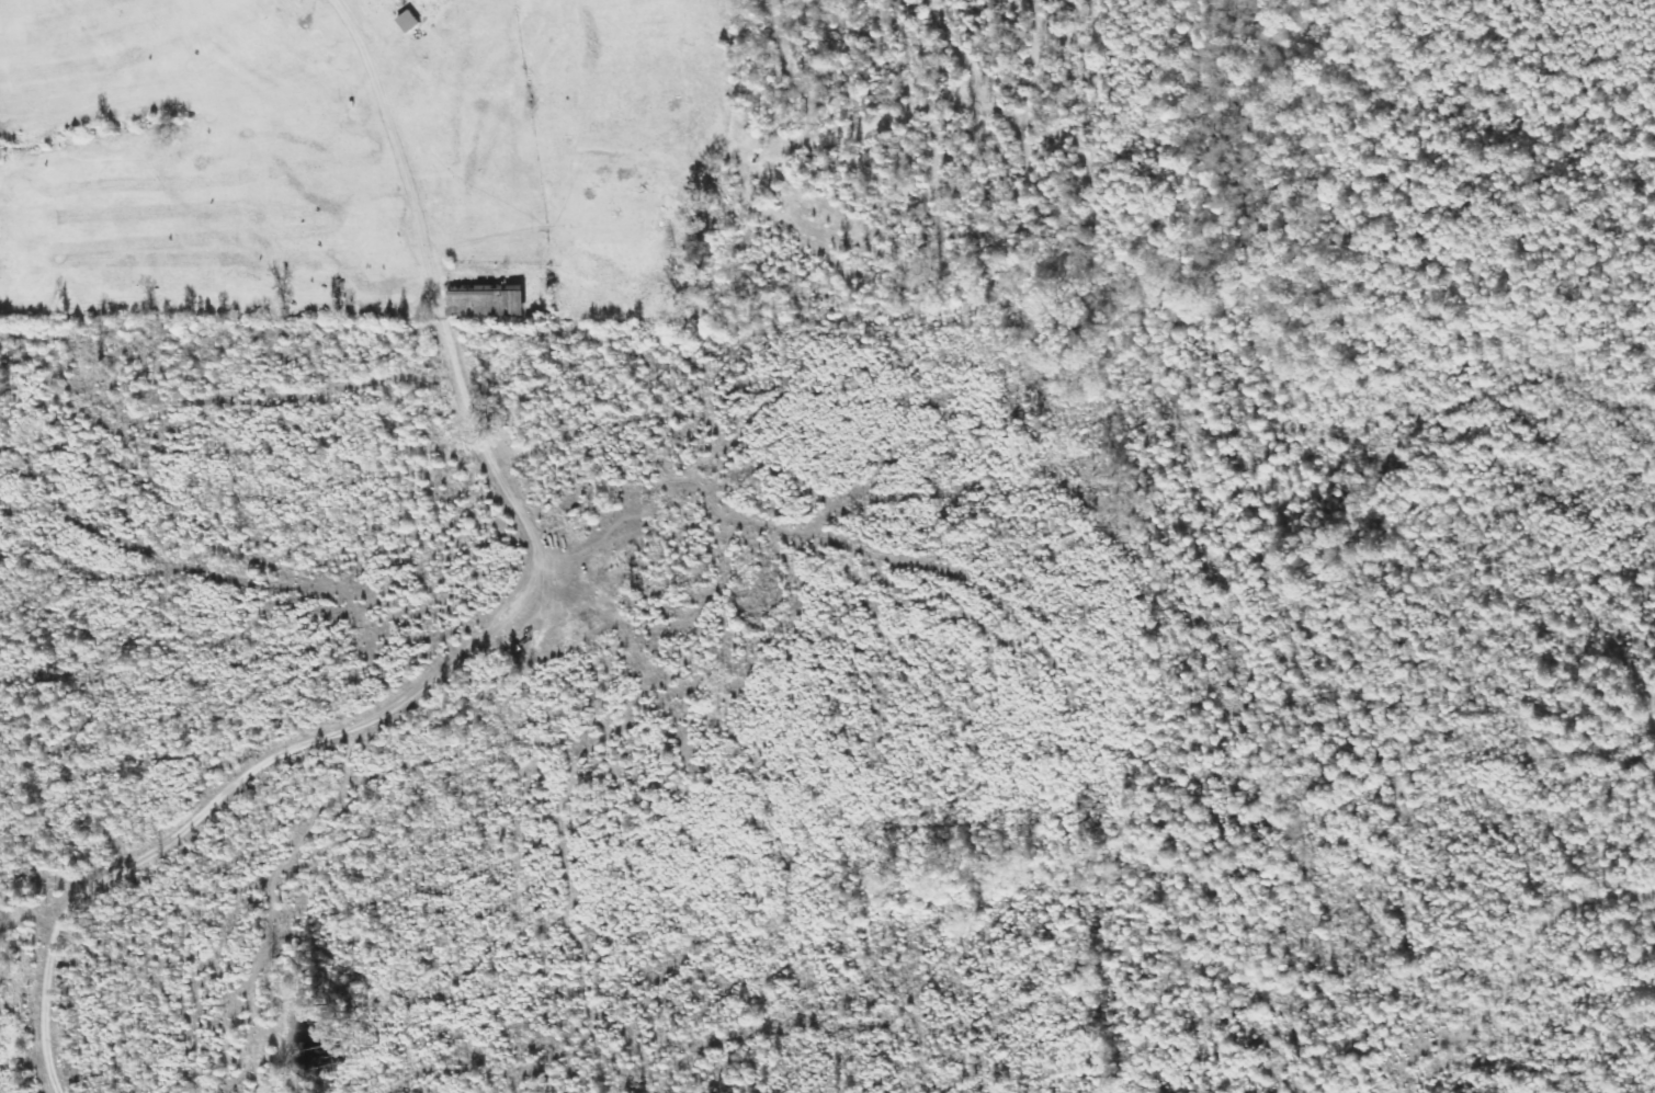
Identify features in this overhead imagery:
road: (340, 4)
road: (477, 639)

